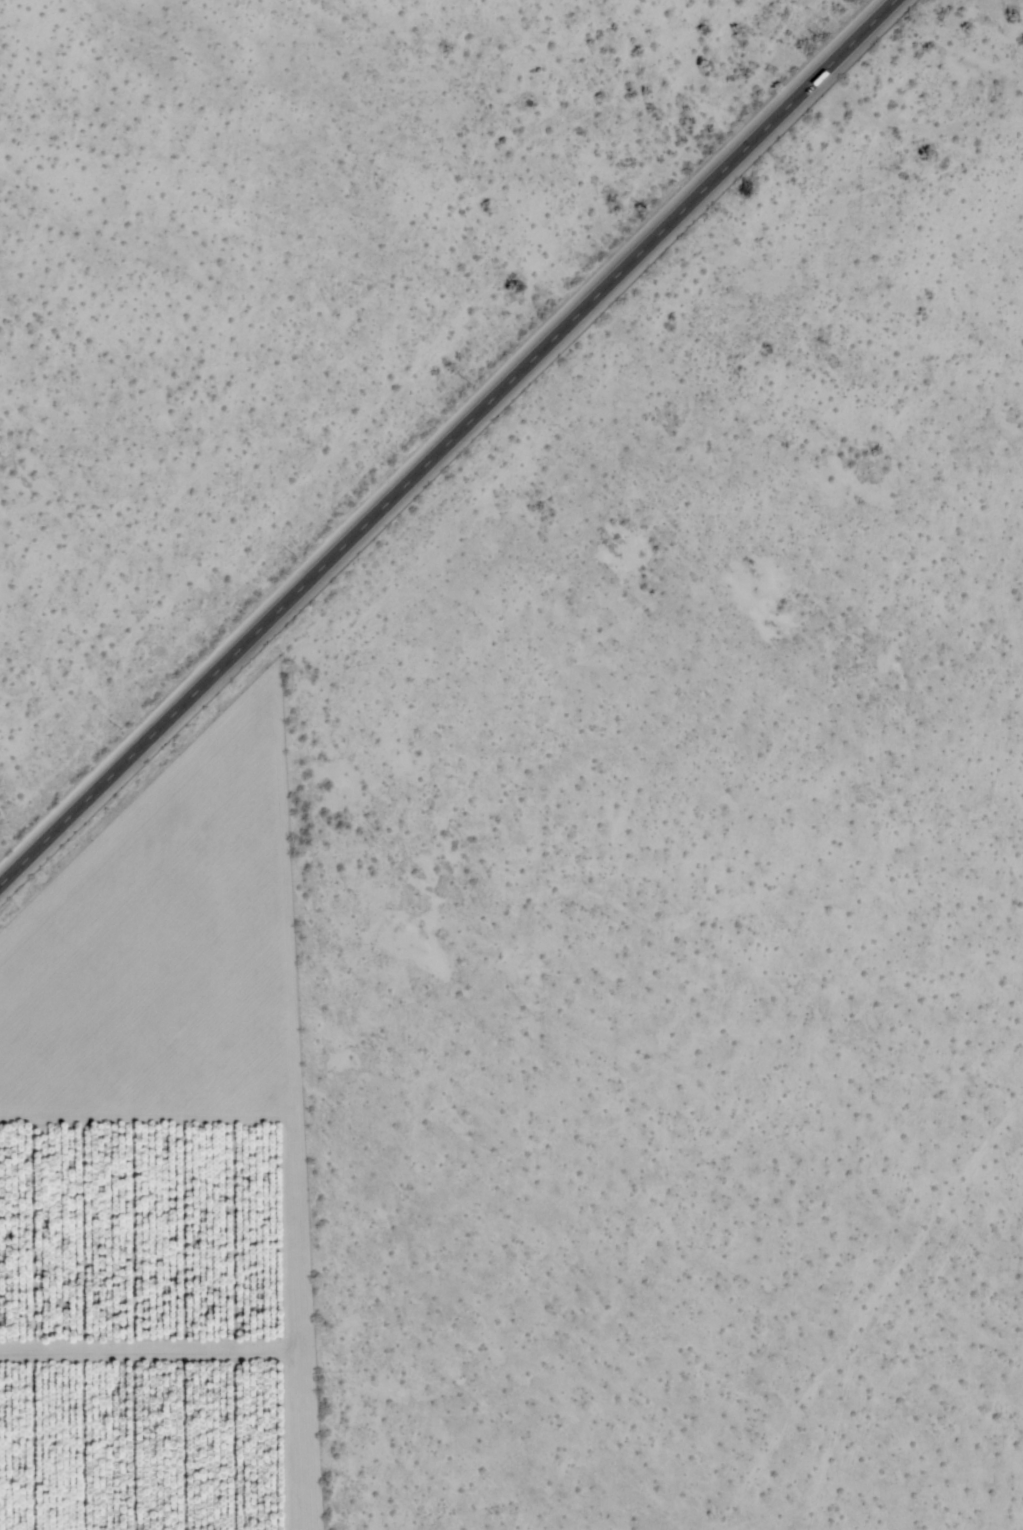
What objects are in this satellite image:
road: (448, 441)
crop: (148, 1329)

